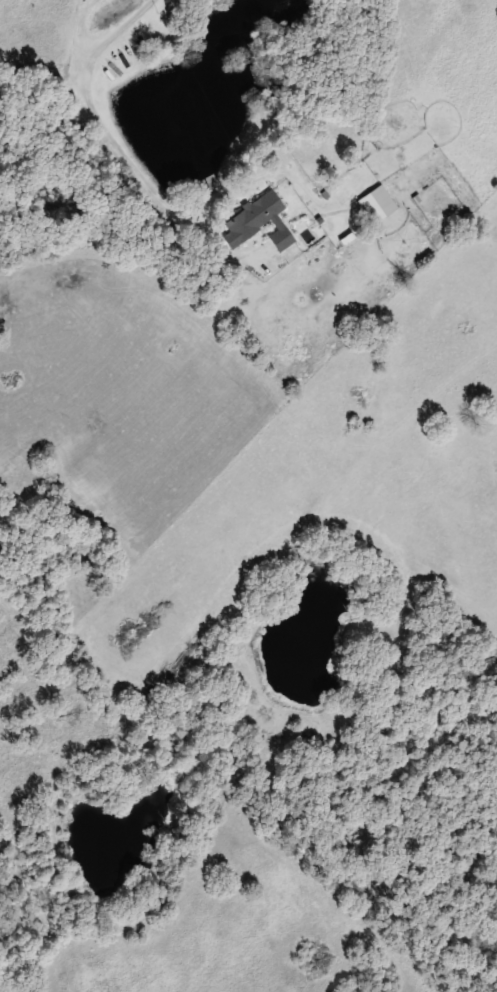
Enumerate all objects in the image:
road: (108, 128)
building: (381, 203)
building: (260, 221)

